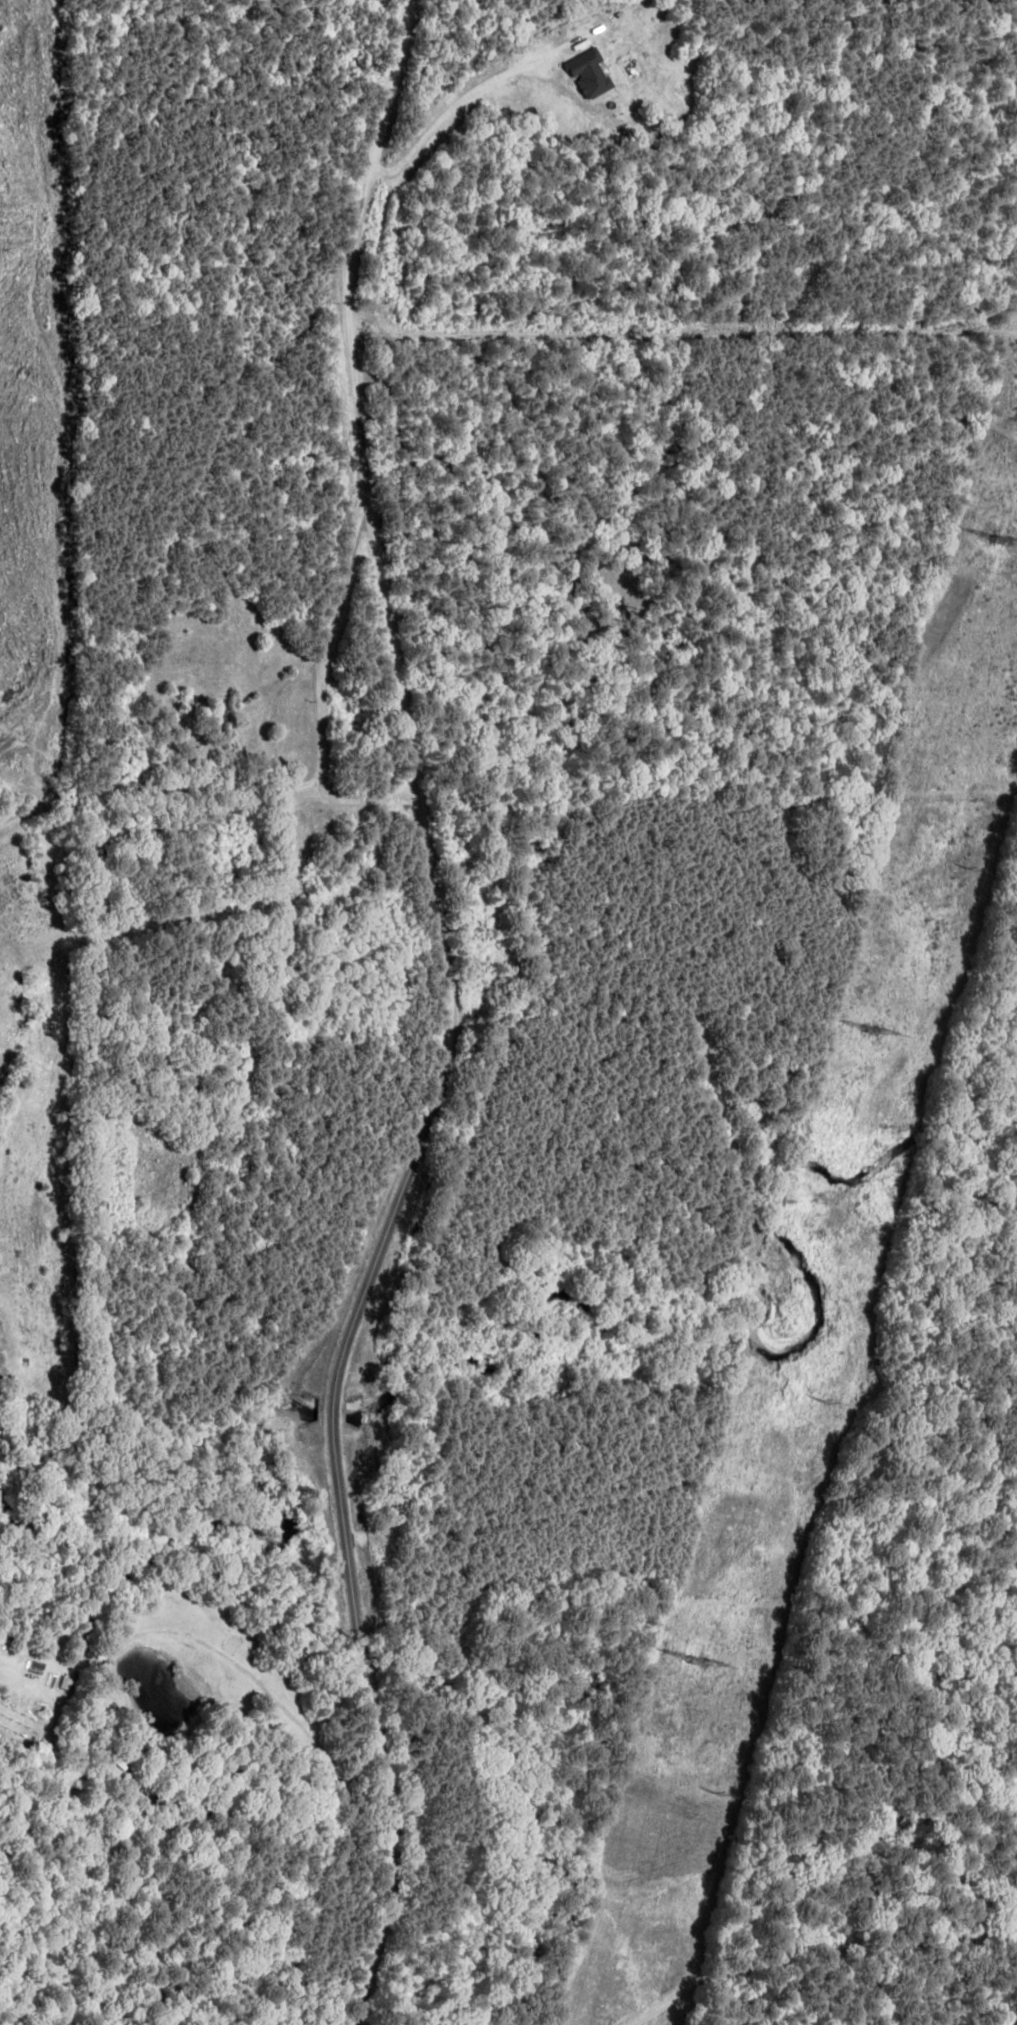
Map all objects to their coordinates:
building: (591, 75)
power tower: (999, 533)
road: (322, 658)
road: (202, 813)
road: (429, 1020)
power tower: (865, 1030)
power tower: (693, 1664)

